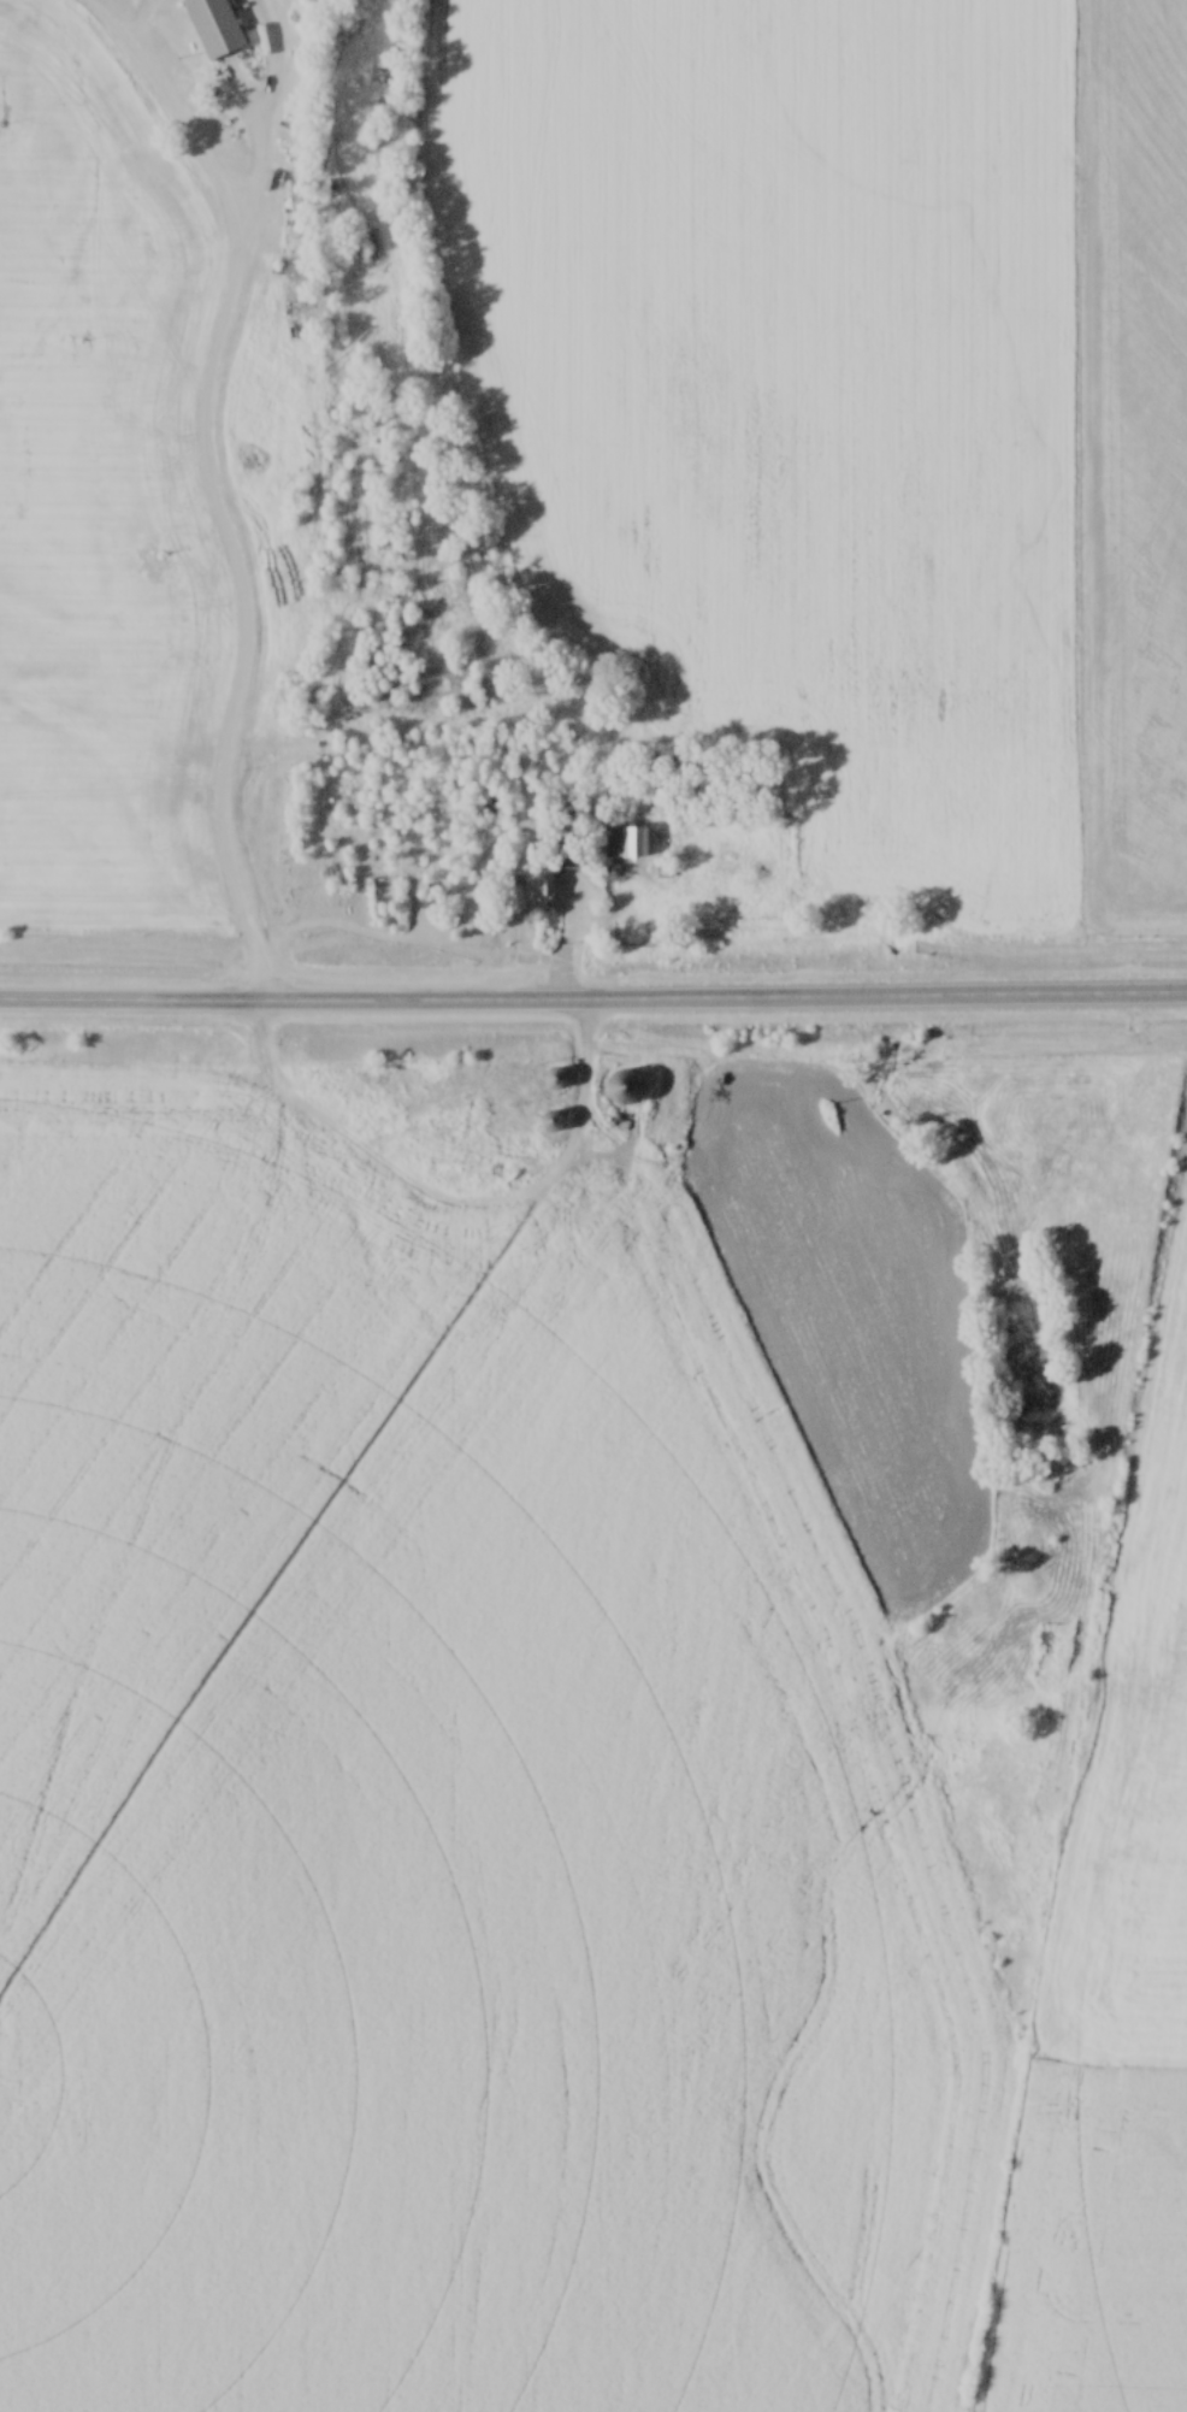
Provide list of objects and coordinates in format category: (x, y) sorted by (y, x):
building: (213, 28)
road: (211, 478)
building: (632, 844)
building: (532, 892)
road: (593, 997)
building: (557, 1079)
building: (626, 1089)
building: (551, 1122)
building: (521, 1151)
road: (450, 1202)

